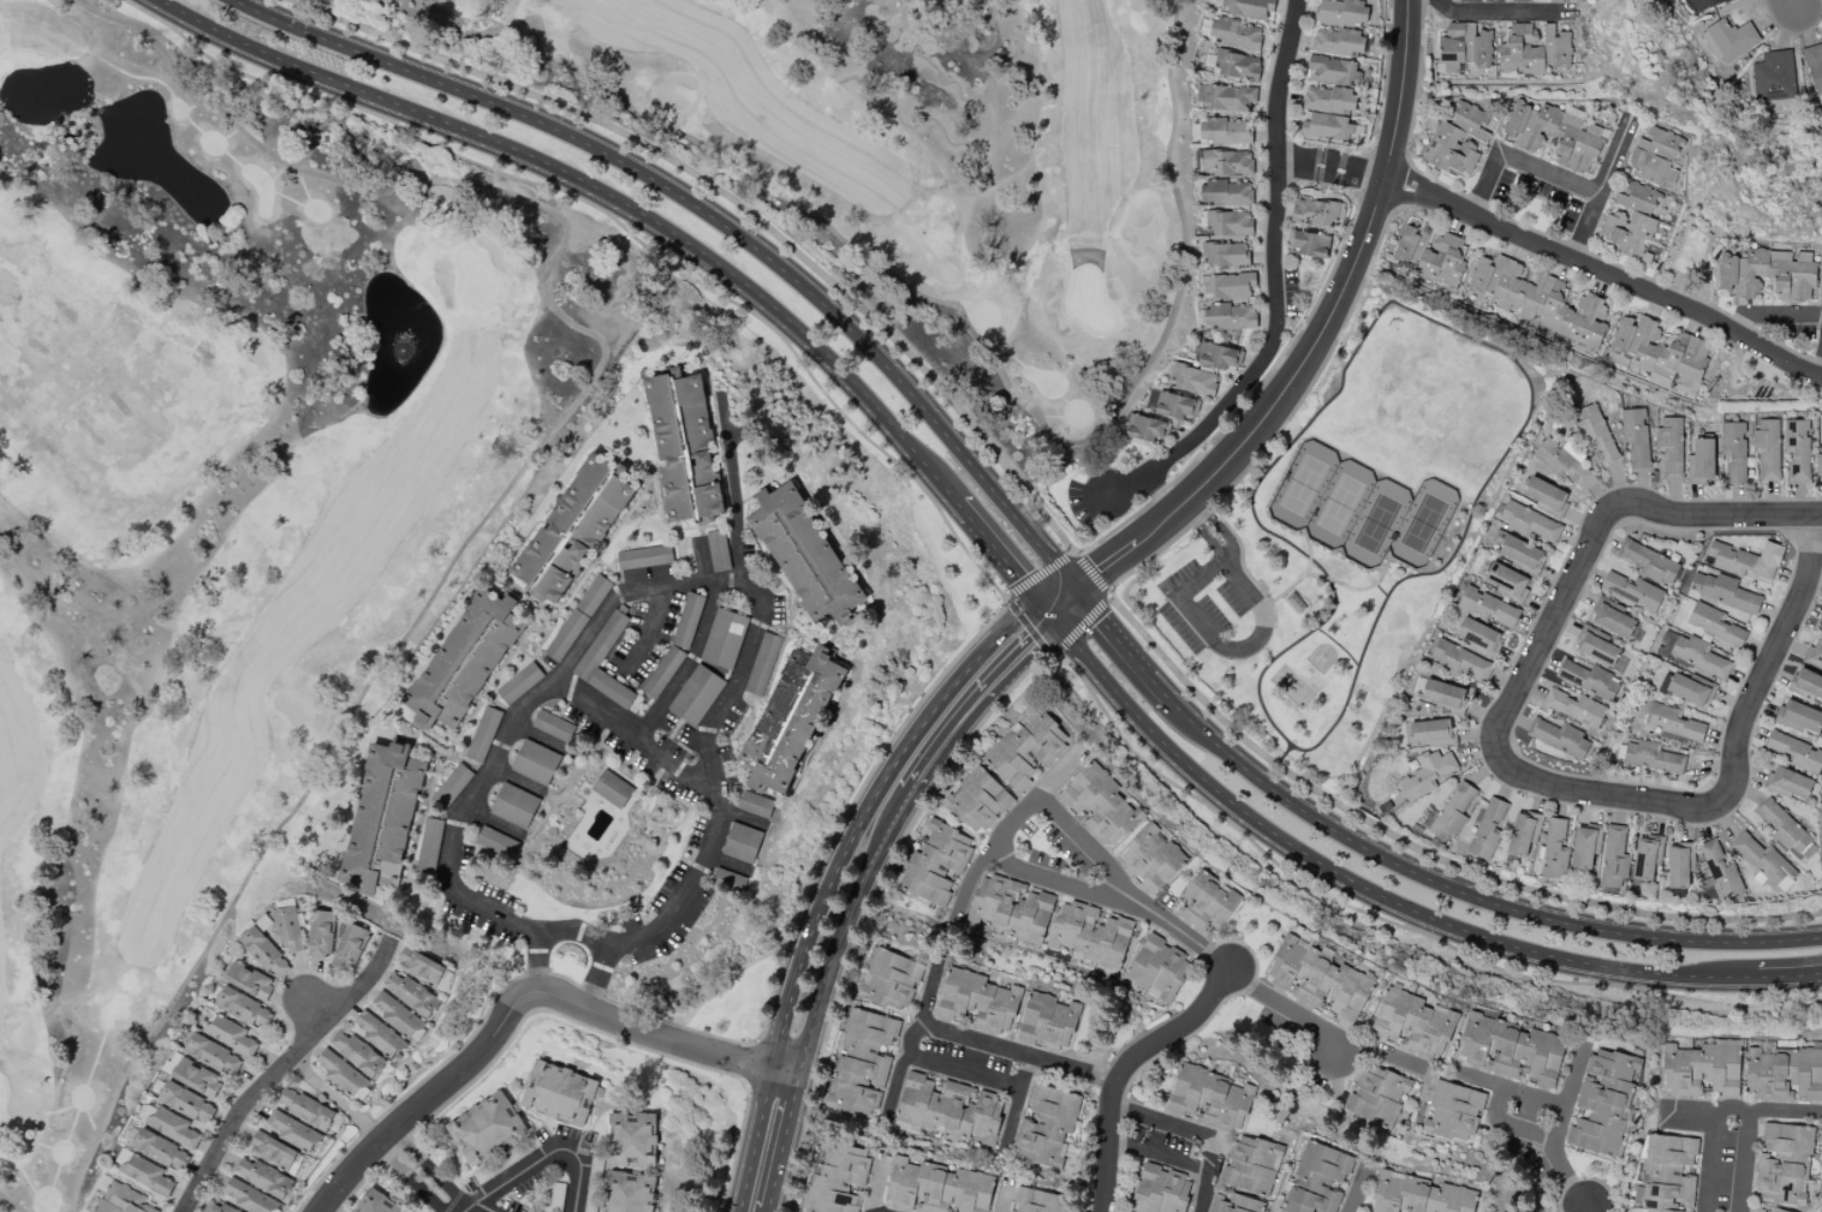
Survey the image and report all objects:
building: (1705, 4)
road: (1793, 5)
building: (1250, 7)
road: (1476, 10)
building: (1341, 12)
road: (1540, 12)
building: (1235, 34)
building: (1728, 38)
building: (1338, 42)
building: (1465, 46)
building: (1535, 48)
building: (1815, 64)
building: (1237, 66)
building: (1332, 70)
building: (1774, 74)
building: (1231, 98)
building: (1329, 98)
building: (1327, 127)
building: (1223, 132)
building: (1554, 135)
building: (1459, 139)
park: (901, 151)
building: (1656, 156)
building: (1226, 162)
road: (1518, 162)
road: (1299, 163)
road: (1602, 189)
building: (1226, 192)
building: (1315, 211)
road: (713, 216)
building: (1631, 220)
building: (1228, 222)
building: (1310, 244)
building: (1431, 253)
building: (1225, 255)
road: (1573, 261)
building: (1768, 274)
building: (1228, 285)
road: (1278, 289)
building: (1540, 300)
road: (1773, 314)
building: (1229, 316)
road: (1318, 338)
building: (1660, 350)
building: (1219, 356)
road: (1820, 363)
building: (1193, 380)
building: (1174, 406)
building: (1147, 429)
building: (1596, 434)
building: (1636, 436)
building: (1821, 438)
building: (685, 446)
building: (1671, 447)
building: (1798, 448)
building: (1734, 449)
building: (1768, 449)
building: (1701, 461)
building: (1564, 462)
building: (1818, 467)
park: (236, 494)
building: (1547, 497)
park: (1360, 508)
building: (1529, 523)
road: (1602, 523)
park: (1352, 529)
building: (573, 531)
road: (982, 533)
building: (719, 550)
building: (1523, 555)
building: (645, 556)
building: (805, 556)
road: (1071, 559)
building: (1746, 560)
road: (703, 561)
building: (1649, 562)
building: (1507, 581)
building: (1632, 591)
traffic signals: (1077, 592)
building: (1729, 592)
traffic signals: (1042, 605)
building: (1487, 607)
building: (578, 617)
building: (1613, 619)
building: (1820, 621)
traffic signals: (1056, 625)
building: (1714, 625)
road: (1112, 633)
road: (648, 634)
building: (1479, 637)
road: (1255, 638)
building: (724, 639)
building: (602, 643)
building: (1597, 646)
building: (1815, 655)
building: (1699, 656)
building: (465, 661)
building: (1459, 661)
building: (762, 664)
road: (681, 665)
building: (1590, 679)
building: (519, 683)
building: (1806, 683)
road: (989, 687)
road: (1159, 687)
building: (1691, 688)
building: (696, 695)
building: (1445, 695)
building: (1576, 708)
building: (1799, 716)
building: (791, 720)
building: (1673, 722)
building: (554, 726)
building: (1433, 733)
building: (483, 734)
building: (1559, 738)
road: (637, 747)
building: (1026, 748)
building: (1797, 752)
building: (1653, 757)
building: (536, 762)
building: (1427, 774)
building: (1788, 783)
building: (453, 784)
road: (1732, 786)
building: (612, 788)
building: (977, 800)
building: (516, 805)
building: (756, 805)
building: (1102, 805)
road: (1022, 812)
building: (1449, 813)
building: (383, 818)
building: (1487, 829)
building: (1787, 831)
building: (1523, 834)
building: (498, 842)
building: (743, 842)
building: (429, 846)
building: (1585, 846)
building: (1555, 849)
building: (1614, 856)
building: (1647, 856)
building: (1153, 858)
road: (836, 859)
building: (1766, 861)
building: (936, 864)
building: (1680, 864)
building: (1721, 871)
road: (1467, 894)
building: (1207, 901)
road: (869, 908)
building: (1011, 908)
building: (288, 927)
road: (842, 927)
building: (322, 933)
building: (1089, 933)
road: (593, 937)
building: (351, 947)
building: (266, 953)
road: (536, 966)
building: (422, 967)
building: (1159, 968)
road: (597, 977)
building: (891, 979)
building: (250, 980)
building: (1320, 980)
building: (411, 993)
road: (1273, 997)
building: (978, 1001)
building: (244, 1008)
building: (399, 1017)
building: (1048, 1022)
building: (1415, 1022)
building: (231, 1034)
building: (379, 1034)
road: (672, 1040)
road: (916, 1043)
building: (1512, 1049)
building: (357, 1052)
building: (213, 1053)
road: (1020, 1053)
building: (864, 1062)
road: (1125, 1068)
road: (282, 1069)
building: (1702, 1069)
road: (966, 1073)
road: (1576, 1073)
building: (344, 1074)
building: (1784, 1074)
building: (197, 1077)
road: (1510, 1088)
building: (562, 1093)
building: (1379, 1094)
road: (429, 1097)
building: (1209, 1098)
building: (187, 1101)
building: (1603, 1101)
road: (1018, 1106)
building: (306, 1109)
building: (951, 1109)
building: (1452, 1110)
road: (1716, 1110)
building: (174, 1127)
building: (487, 1127)
building: (294, 1130)
road: (1747, 1134)
road: (1195, 1135)
building: (632, 1140)
road: (787, 1141)
building: (161, 1150)
building: (273, 1151)
road: (546, 1160)
road: (1559, 1160)
building: (1251, 1164)
building: (1785, 1164)
building: (147, 1174)
road: (422, 1174)
building: (1667, 1174)
building: (263, 1176)
building: (839, 1178)
building: (1317, 1180)
road: (880, 1181)
building: (937, 1188)
road: (1359, 1189)
building: (1161, 1190)
building: (631, 1193)
road: (1008, 1193)
building: (1419, 1195)
building: (250, 1198)
building: (124, 1200)
building: (1037, 1201)
building: (377, 1202)
building: (1234, 1204)
building: (218, 1207)
road: (484, 1208)
building: (1758, 1210)
road: (772, 1211)
road: (1585, 1211)

